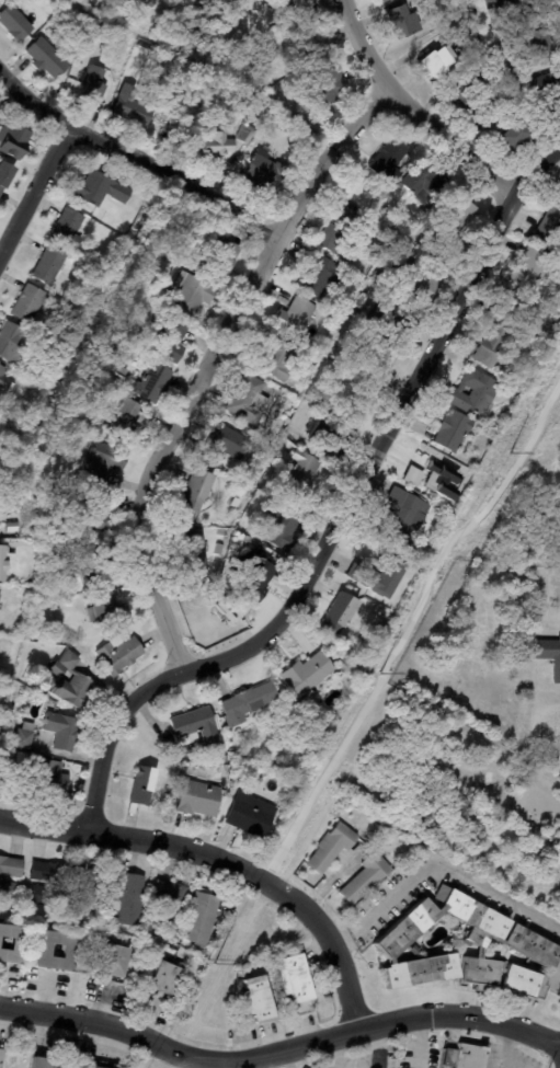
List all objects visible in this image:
building: (68, 0)
building: (380, 0)
building: (482, 0)
building: (386, 1)
building: (152, 3)
building: (295, 7)
building: (512, 8)
building: (404, 22)
building: (14, 23)
building: (522, 23)
building: (98, 30)
building: (541, 44)
building: (498, 51)
building: (46, 59)
building: (435, 62)
building: (322, 84)
building: (90, 85)
building: (167, 92)
building: (466, 100)
building: (133, 107)
road: (414, 110)
building: (495, 125)
building: (245, 135)
building: (515, 137)
building: (13, 140)
building: (215, 146)
road: (136, 157)
building: (390, 161)
building: (264, 173)
building: (4, 175)
building: (423, 183)
building: (559, 183)
road: (34, 190)
building: (100, 190)
building: (558, 190)
building: (456, 218)
building: (549, 226)
building: (415, 227)
building: (67, 229)
building: (340, 237)
building: (168, 245)
building: (220, 262)
building: (48, 266)
building: (532, 269)
building: (317, 277)
building: (381, 282)
building: (414, 286)
building: (191, 295)
building: (361, 303)
building: (27, 305)
building: (295, 318)
building: (397, 319)
building: (169, 326)
building: (13, 343)
building: (488, 347)
building: (117, 348)
building: (170, 351)
building: (277, 358)
road: (209, 359)
building: (379, 364)
building: (315, 369)
building: (108, 370)
building: (4, 381)
building: (156, 381)
building: (471, 392)
building: (249, 401)
building: (124, 423)
building: (452, 432)
building: (331, 436)
building: (227, 446)
building: (103, 461)
building: (299, 476)
building: (409, 476)
park: (515, 478)
building: (438, 480)
building: (196, 493)
building: (241, 496)
building: (93, 516)
road: (338, 516)
building: (403, 522)
building: (281, 531)
building: (221, 532)
building: (218, 552)
building: (193, 554)
building: (5, 564)
building: (96, 567)
building: (31, 572)
building: (382, 577)
building: (254, 578)
road: (557, 586)
building: (60, 596)
building: (106, 611)
building: (340, 617)
building: (381, 627)
road: (408, 628)
building: (549, 654)
building: (118, 656)
building: (358, 662)
building: (307, 675)
building: (68, 682)
building: (248, 704)
building: (196, 727)
building: (62, 732)
building: (24, 737)
building: (230, 750)
building: (0, 761)
building: (222, 761)
park: (356, 762)
building: (50, 779)
building: (141, 788)
building: (197, 801)
building: (250, 817)
building: (551, 834)
road: (136, 839)
building: (331, 848)
road: (437, 866)
building: (365, 878)
building: (511, 880)
building: (2, 881)
building: (47, 884)
building: (87, 891)
building: (559, 895)
building: (126, 903)
building: (168, 906)
building: (199, 920)
road: (330, 943)
building: (524, 943)
building: (12, 945)
building: (414, 951)
building: (42, 954)
building: (111, 964)
road: (557, 973)
building: (294, 979)
building: (165, 983)
building: (256, 1000)
road: (508, 1047)
road: (279, 1049)
building: (1, 1056)
building: (464, 1057)
building: (44, 1064)
building: (89, 1067)

